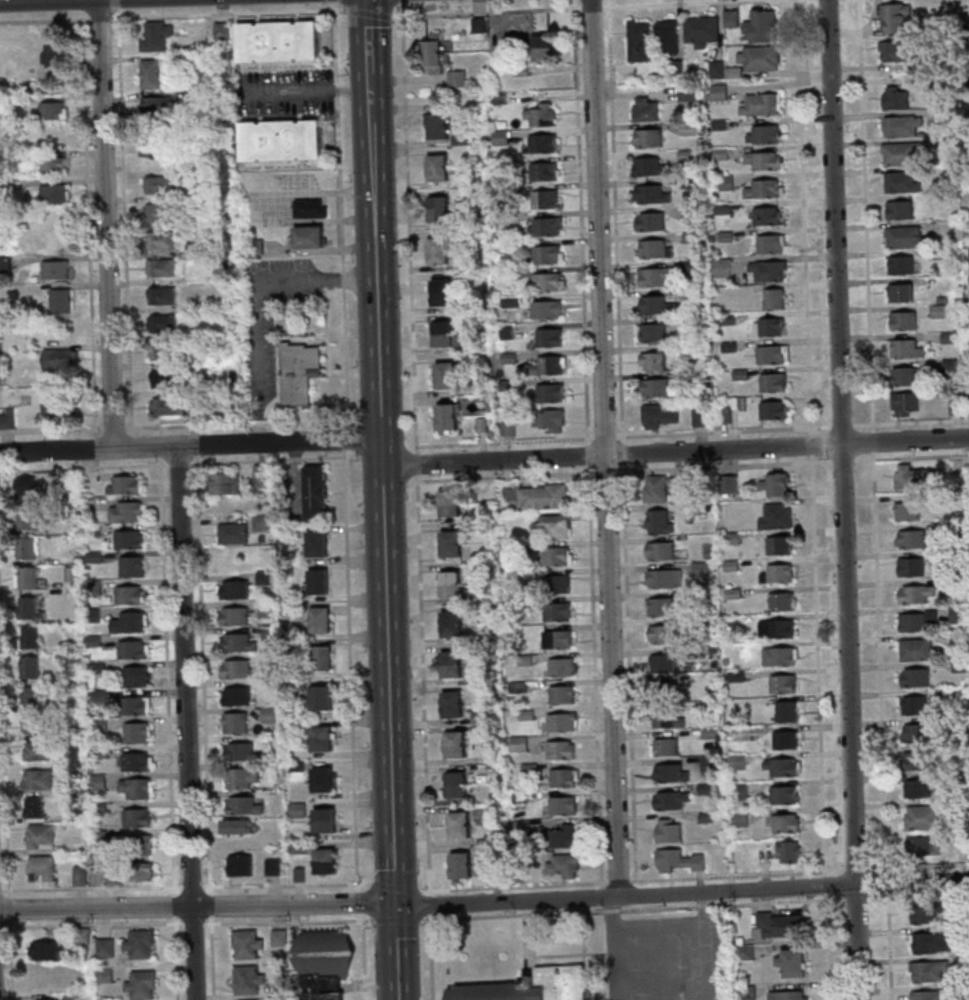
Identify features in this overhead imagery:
road: (334, 0)
road: (41, 1)
road: (401, 1)
road: (675, 3)
road: (117, 4)
road: (82, 5)
road: (591, 6)
road: (488, 12)
road: (228, 13)
road: (370, 13)
building: (894, 17)
road: (55, 18)
building: (730, 18)
building: (480, 25)
building: (762, 25)
building: (221, 31)
building: (702, 31)
building: (154, 37)
building: (667, 37)
building: (639, 40)
building: (297, 41)
building: (257, 42)
road: (368, 48)
building: (543, 48)
building: (896, 50)
building: (433, 54)
building: (53, 55)
building: (759, 58)
building: (182, 61)
building: (149, 74)
building: (457, 78)
road: (303, 89)
parking lot: (283, 92)
building: (717, 92)
building: (687, 93)
building: (896, 97)
building: (197, 99)
building: (16, 102)
building: (762, 104)
building: (154, 106)
building: (645, 108)
building: (52, 111)
building: (540, 114)
building: (438, 125)
building: (903, 126)
building: (15, 131)
building: (763, 134)
building: (51, 137)
building: (501, 137)
building: (648, 137)
building: (300, 139)
building: (260, 141)
building: (542, 143)
building: (902, 154)
building: (763, 160)
building: (0, 163)
building: (52, 166)
building: (649, 166)
building: (439, 168)
building: (545, 171)
building: (900, 182)
building: (157, 185)
building: (0, 188)
building: (765, 188)
building: (53, 194)
building: (651, 194)
parking lot: (278, 198)
building: (545, 198)
road: (267, 208)
building: (439, 208)
building: (308, 209)
building: (899, 209)
building: (158, 212)
road: (340, 213)
road: (865, 214)
building: (767, 215)
road: (804, 216)
road: (124, 218)
road: (615, 221)
building: (650, 221)
road: (580, 222)
road: (88, 223)
road: (105, 224)
building: (546, 226)
road: (407, 227)
building: (906, 237)
building: (308, 238)
building: (159, 240)
building: (771, 243)
building: (252, 247)
building: (654, 248)
building: (439, 250)
building: (546, 254)
building: (4, 265)
building: (900, 265)
building: (160, 268)
building: (722, 268)
building: (54, 270)
building: (768, 271)
building: (655, 277)
road: (262, 280)
building: (546, 282)
building: (441, 292)
building: (899, 292)
building: (161, 296)
building: (774, 298)
building: (54, 302)
building: (656, 304)
building: (547, 309)
building: (904, 320)
building: (162, 324)
building: (769, 326)
building: (652, 332)
building: (445, 333)
building: (549, 337)
building: (905, 349)
building: (162, 351)
building: (773, 354)
building: (57, 359)
building: (652, 360)
building: (552, 364)
building: (297, 373)
building: (446, 375)
building: (904, 376)
building: (163, 379)
building: (774, 381)
building: (656, 387)
building: (551, 391)
building: (905, 403)
building: (164, 407)
building: (192, 407)
building: (774, 410)
building: (56, 412)
road: (256, 415)
building: (659, 415)
building: (700, 417)
building: (448, 418)
building: (550, 419)
building: (6, 420)
road: (911, 421)
road: (235, 422)
road: (841, 424)
road: (113, 427)
building: (509, 428)
road: (50, 429)
road: (771, 429)
road: (160, 431)
road: (664, 434)
road: (605, 436)
road: (344, 437)
road: (504, 441)
road: (872, 441)
road: (811, 444)
road: (161, 446)
road: (190, 446)
road: (94, 448)
road: (603, 448)
road: (196, 451)
road: (674, 451)
road: (622, 452)
road: (588, 455)
road: (266, 459)
road: (792, 462)
road: (179, 463)
road: (416, 463)
road: (95, 464)
road: (83, 468)
road: (606, 471)
building: (260, 476)
road: (506, 476)
building: (911, 478)
building: (224, 484)
building: (731, 484)
building: (775, 484)
building: (123, 486)
building: (24, 488)
building: (657, 488)
building: (314, 493)
building: (544, 496)
road: (842, 499)
building: (451, 503)
building: (907, 511)
building: (124, 513)
building: (282, 516)
building: (779, 516)
building: (25, 518)
building: (660, 521)
building: (260, 523)
building: (552, 526)
building: (92, 531)
building: (231, 534)
building: (910, 539)
building: (127, 540)
building: (452, 543)
building: (316, 544)
building: (781, 546)
building: (24, 548)
road: (383, 548)
building: (660, 550)
building: (559, 555)
building: (92, 557)
building: (75, 561)
building: (911, 566)
building: (130, 567)
building: (700, 570)
building: (779, 573)
building: (68, 574)
building: (263, 578)
building: (664, 578)
building: (25, 579)
building: (317, 583)
building: (451, 583)
building: (557, 583)
building: (91, 588)
building: (234, 590)
building: (69, 591)
building: (916, 594)
building: (127, 595)
building: (782, 600)
building: (660, 606)
building: (27, 609)
building: (264, 609)
building: (558, 611)
building: (91, 615)
building: (958, 615)
building: (233, 616)
building: (319, 621)
building: (918, 621)
building: (127, 623)
building: (451, 623)
building: (781, 625)
building: (268, 632)
building: (660, 634)
building: (29, 638)
building: (557, 639)
building: (92, 641)
building: (236, 643)
building: (919, 649)
building: (130, 650)
building: (321, 653)
building: (779, 656)
road: (880, 662)
building: (662, 663)
building: (453, 664)
road: (817, 664)
building: (321, 665)
road: (349, 666)
building: (563, 666)
building: (28, 668)
building: (94, 668)
road: (202, 670)
building: (237, 670)
road: (629, 671)
road: (168, 673)
building: (70, 674)
road: (595, 676)
building: (134, 677)
building: (915, 677)
building: (783, 683)
road: (422, 684)
building: (665, 690)
building: (320, 693)
building: (562, 693)
building: (97, 695)
building: (32, 696)
building: (236, 697)
building: (453, 704)
building: (915, 704)
building: (320, 705)
building: (135, 706)
building: (786, 711)
building: (268, 715)
building: (669, 717)
building: (561, 721)
road: (184, 722)
building: (234, 723)
building: (32, 724)
building: (298, 725)
building: (97, 726)
building: (918, 732)
building: (135, 734)
building: (321, 734)
building: (786, 739)
building: (456, 744)
building: (321, 746)
building: (664, 746)
building: (561, 749)
building: (36, 751)
building: (238, 752)
building: (97, 753)
building: (921, 760)
building: (134, 762)
road: (4, 764)
building: (709, 764)
building: (295, 766)
building: (782, 767)
building: (668, 772)
building: (322, 775)
building: (564, 777)
building: (239, 778)
building: (36, 781)
building: (97, 782)
building: (457, 784)
building: (322, 787)
building: (920, 788)
building: (74, 789)
building: (135, 789)
building: (785, 794)
building: (670, 799)
building: (563, 805)
building: (242, 806)
building: (32, 807)
building: (97, 807)
building: (296, 811)
building: (324, 815)
building: (75, 816)
building: (923, 817)
building: (135, 818)
building: (786, 823)
building: (461, 824)
building: (519, 825)
building: (233, 827)
building: (324, 827)
building: (668, 830)
building: (38, 835)
building: (565, 835)
building: (98, 836)
building: (138, 845)
building: (919, 846)
building: (298, 849)
building: (789, 851)
building: (324, 857)
building: (678, 861)
building: (562, 865)
building: (239, 866)
building: (462, 866)
road: (920, 867)
building: (272, 868)
building: (324, 868)
building: (40, 869)
road: (856, 869)
building: (139, 872)
building: (298, 874)
road: (736, 875)
building: (78, 876)
building: (102, 878)
road: (618, 880)
road: (286, 883)
road: (547, 884)
road: (887, 884)
road: (824, 885)
road: (191, 886)
road: (397, 886)
road: (91, 888)
road: (209, 888)
road: (455, 889)
road: (1, 890)
road: (919, 896)
road: (602, 897)
road: (855, 898)
road: (175, 903)
road: (210, 903)
road: (484, 903)
traffic signals: (394, 905)
road: (429, 905)
road: (8, 907)
road: (601, 909)
road: (631, 909)
building: (925, 912)
street lamp: (206, 919)
road: (396, 919)
road: (288, 921)
road: (193, 923)
street lamp: (4, 924)
road: (91, 924)
building: (781, 924)
building: (80, 936)
building: (277, 938)
road: (363, 941)
building: (931, 942)
building: (139, 945)
building: (245, 945)
road: (826, 947)
road: (889, 947)
building: (104, 949)
building: (46, 950)
building: (746, 952)
parking lot: (668, 953)
road: (571, 954)
building: (323, 955)
road: (605, 955)
road: (176, 957)
road: (211, 957)
road: (431, 957)
road: (11, 959)
building: (791, 962)
building: (929, 971)
building: (103, 975)
building: (42, 979)
building: (246, 980)
building: (140, 986)
building: (531, 987)
building: (322, 989)
building: (280, 991)
building: (789, 995)
building: (930, 995)
building: (45, 999)
building: (251, 999)

